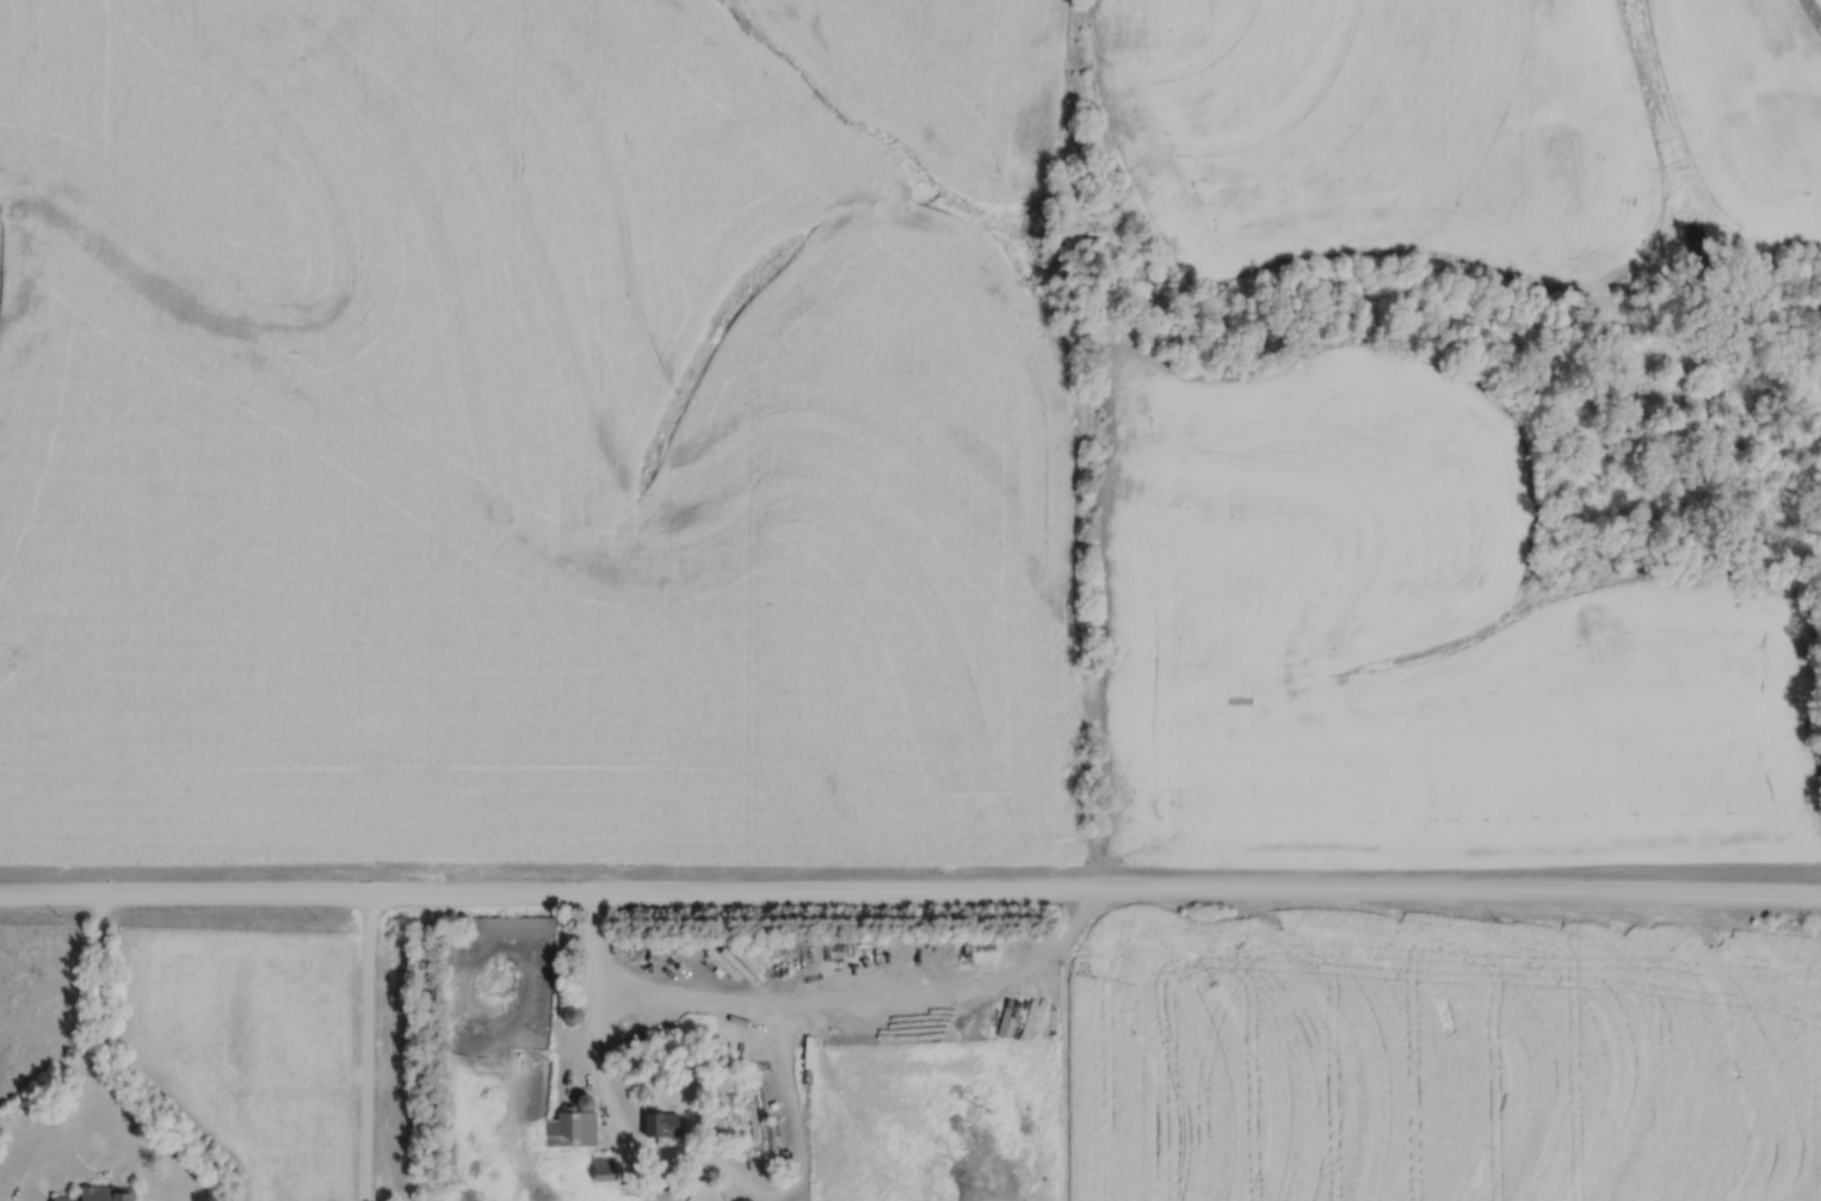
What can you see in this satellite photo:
road: (910, 895)
building: (512, 925)
road: (101, 990)
road: (866, 1004)
building: (568, 1012)
road: (600, 1023)
road: (370, 1051)
building: (572, 1122)
building: (661, 1123)
road: (75, 1159)
building: (601, 1166)
building: (98, 1194)

